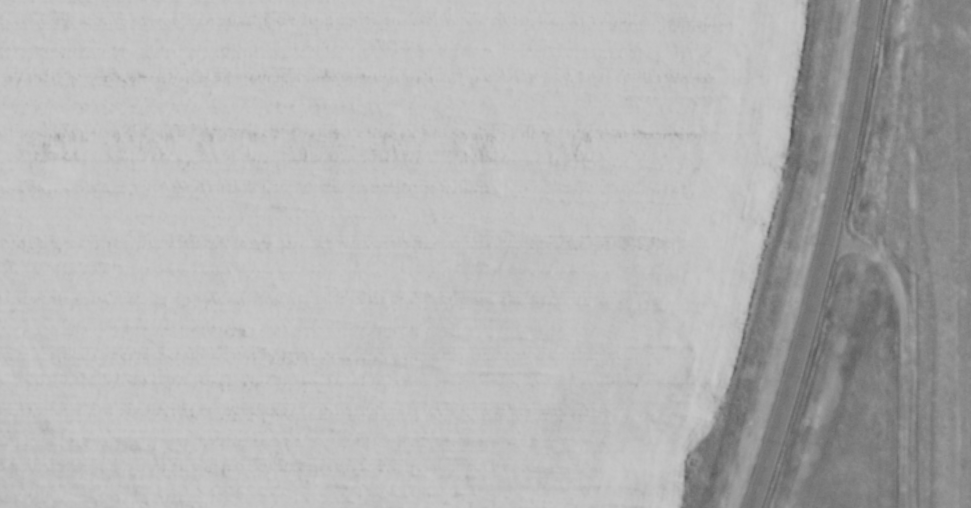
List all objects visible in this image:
road: (815, 256)
road: (920, 339)

